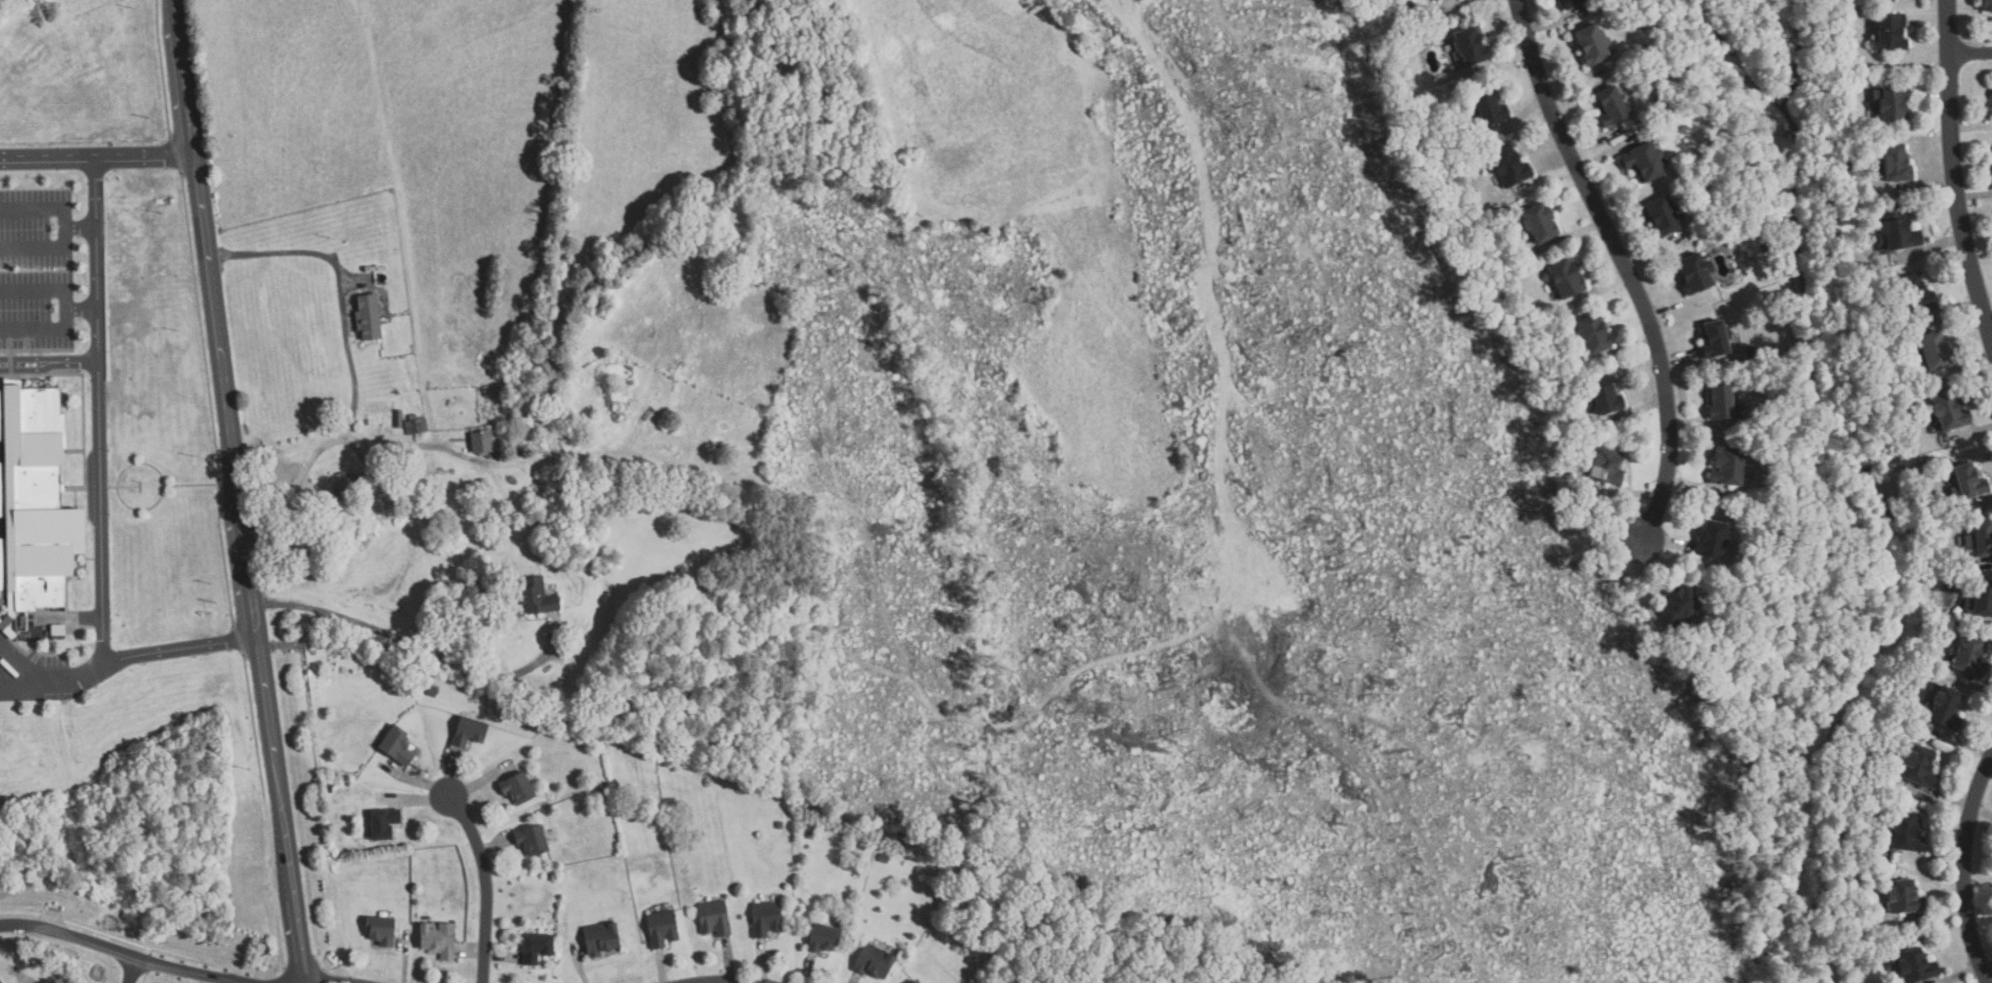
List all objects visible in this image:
building: (1432, 0)
building: (1568, 4)
building: (1986, 5)
building: (1890, 33)
building: (1590, 45)
building: (1468, 47)
road: (1971, 52)
building: (1892, 103)
building: (1489, 107)
building: (1610, 107)
building: (1991, 107)
building: (1821, 133)
road: (99, 157)
building: (1642, 162)
building: (1895, 164)
building: (1508, 168)
road: (1953, 172)
building: (1661, 216)
building: (1726, 217)
building: (1537, 223)
road: (68, 225)
road: (81, 225)
parking lot: (36, 229)
building: (1897, 230)
building: (1765, 248)
road: (1627, 272)
building: (1694, 274)
building: (1564, 279)
building: (1916, 294)
road: (217, 300)
road: (67, 306)
road: (82, 307)
parking lot: (36, 311)
building: (366, 317)
building: (1592, 335)
building: (1713, 340)
road: (348, 350)
building: (1933, 352)
building: (1750, 353)
road: (28, 359)
road: (76, 362)
road: (29, 370)
building: (1602, 397)
building: (1723, 404)
building: (1949, 411)
building: (397, 419)
building: (366, 422)
building: (415, 426)
building: (480, 441)
road: (419, 444)
building: (1605, 465)
building: (1727, 467)
building: (1967, 482)
road: (99, 489)
building: (343, 489)
building: (33, 502)
building: (361, 509)
building: (1980, 539)
building: (1710, 540)
building: (535, 597)
building: (1981, 599)
building: (1678, 608)
road: (257, 620)
road: (405, 645)
building: (1969, 657)
road: (85, 675)
road: (57, 683)
building: (431, 690)
building: (1944, 708)
building: (467, 731)
building: (394, 744)
building: (1919, 766)
building: (515, 786)
building: (328, 788)
building: (599, 794)
road: (285, 810)
building: (380, 823)
building: (779, 824)
building: (808, 829)
building: (1904, 833)
building: (530, 839)
building: (883, 857)
road: (1961, 869)
road: (487, 885)
building: (1902, 897)
building: (713, 917)
building: (764, 918)
building: (659, 927)
building: (379, 929)
building: (821, 937)
building: (598, 938)
building: (435, 939)
building: (534, 947)
road: (133, 953)
building: (872, 960)
building: (1911, 966)
road: (129, 968)
road: (334, 978)
building: (2, 979)
building: (913, 981)
building: (918, 982)

